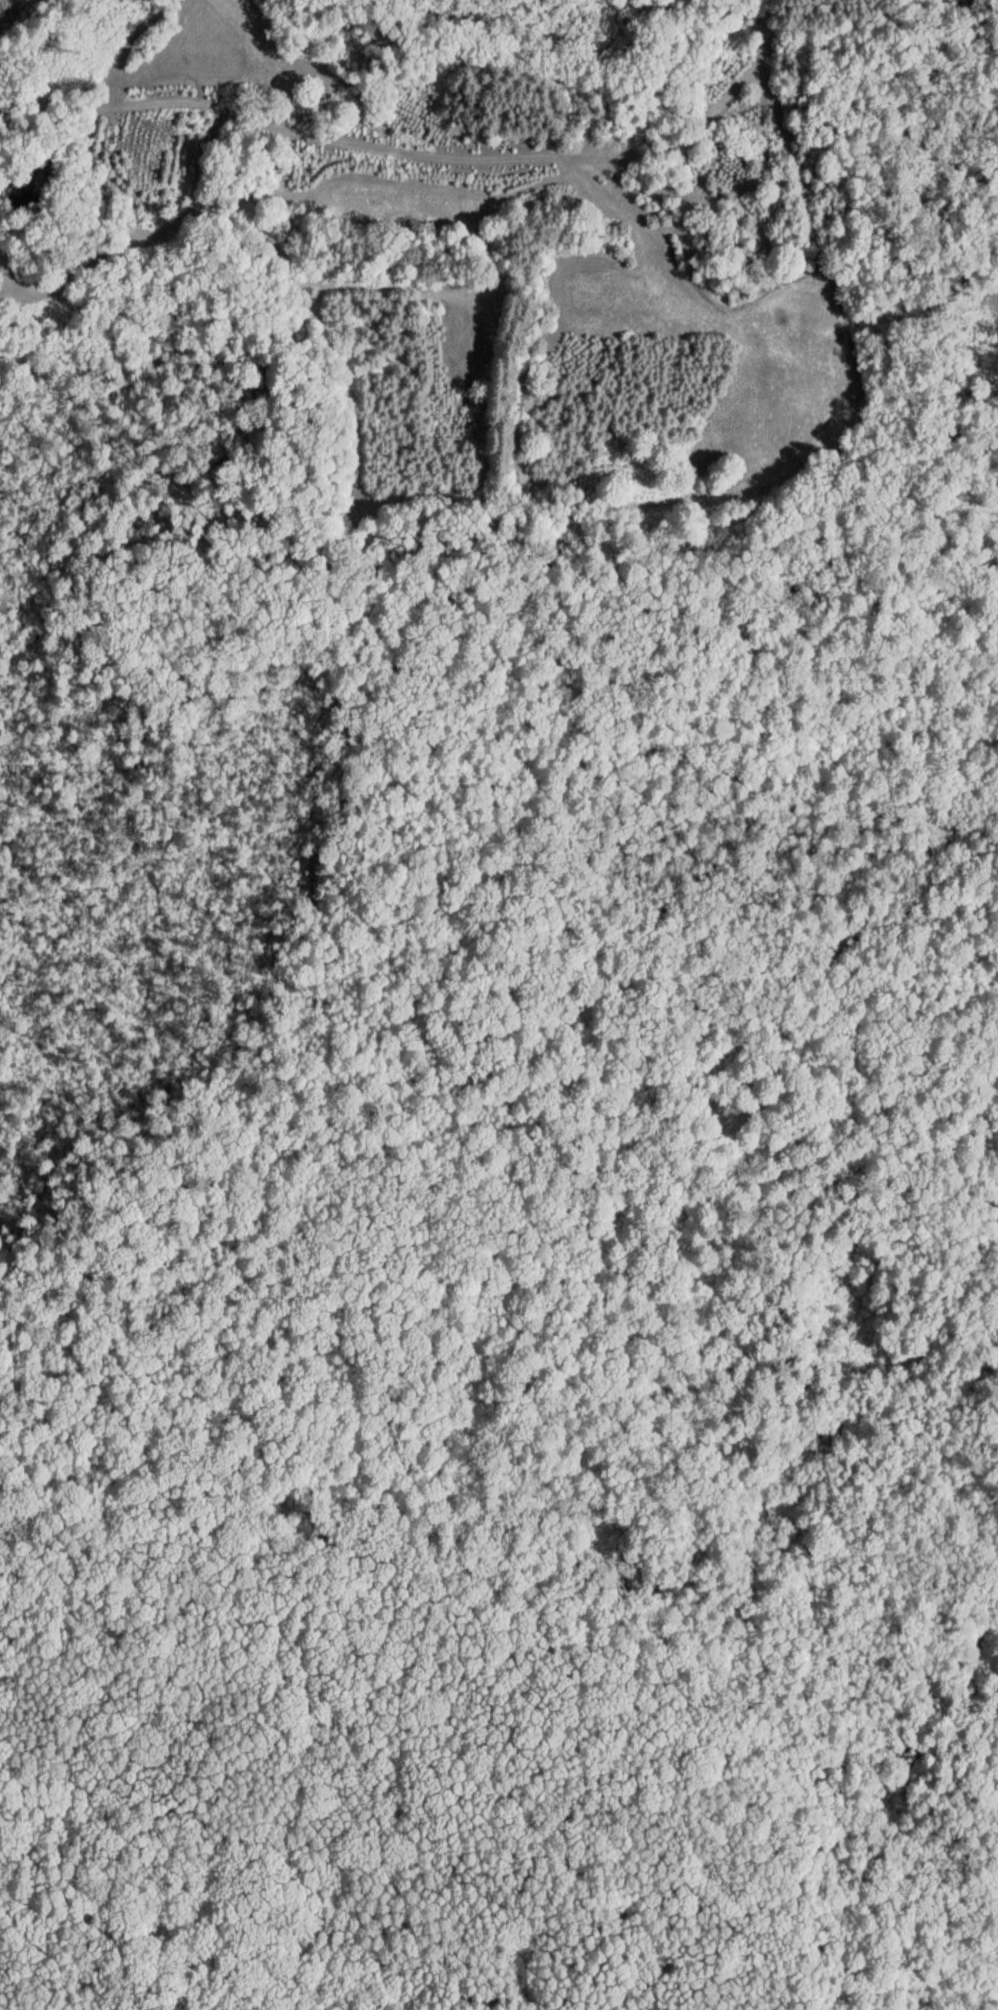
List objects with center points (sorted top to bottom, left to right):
road: (424, 158)

